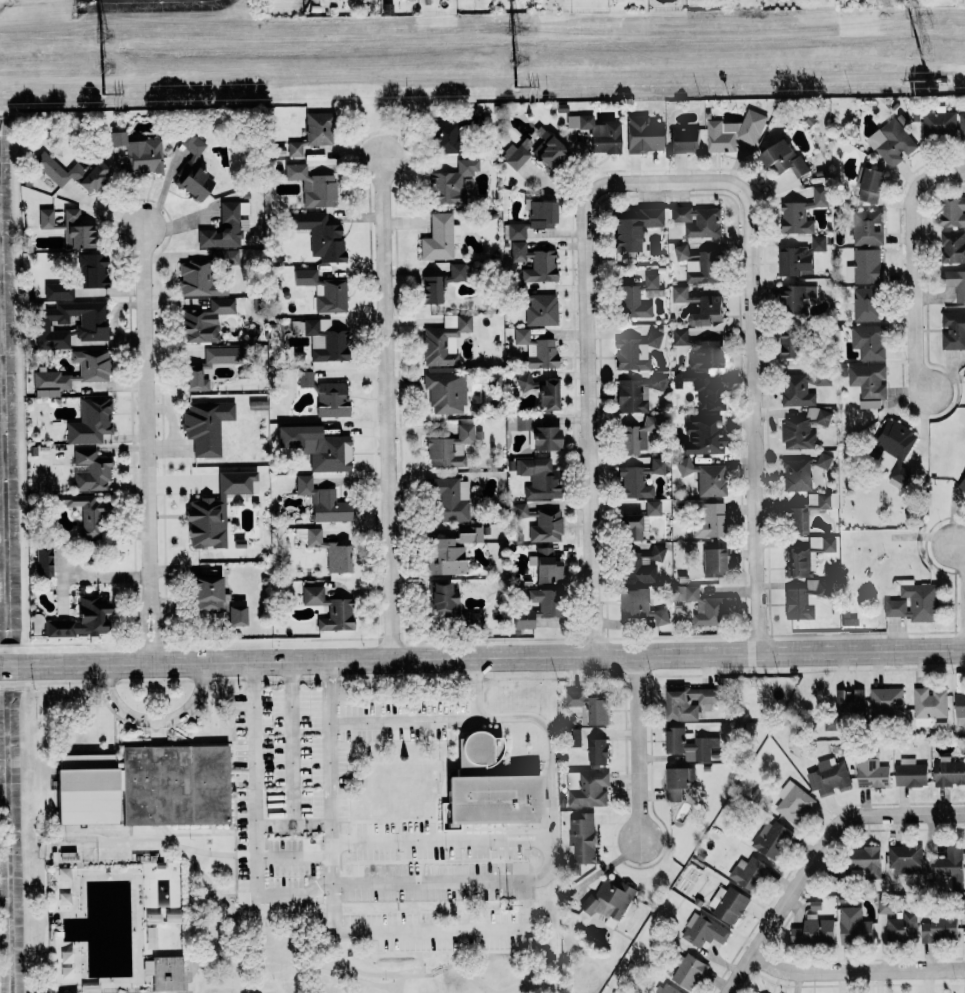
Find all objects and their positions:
power tower: (925, 22)
power tower: (514, 29)
power tower: (102, 36)
power tower: (927, 51)
power tower: (514, 59)
power tower: (102, 65)
power tower: (926, 79)
power tower: (514, 85)
power tower: (101, 94)
building: (472, 117)
building: (318, 128)
building: (962, 128)
building: (598, 133)
building: (643, 134)
building: (442, 137)
building: (117, 138)
building: (684, 138)
building: (892, 142)
building: (294, 148)
building: (534, 153)
building: (144, 156)
building: (783, 158)
building: (192, 169)
building: (71, 173)
road: (667, 182)
building: (451, 183)
building: (871, 185)
building: (314, 186)
building: (802, 212)
building: (952, 212)
building: (541, 215)
building: (45, 218)
building: (697, 221)
building: (634, 227)
building: (868, 227)
building: (223, 228)
building: (77, 230)
building: (516, 231)
building: (320, 236)
building: (440, 238)
building: (953, 247)
building: (683, 253)
building: (224, 257)
building: (799, 257)
building: (535, 263)
road: (910, 263)
building: (865, 266)
building: (702, 268)
building: (92, 271)
building: (196, 280)
building: (442, 283)
building: (955, 283)
building: (58, 290)
building: (324, 291)
building: (682, 294)
building: (635, 298)
building: (796, 299)
building: (867, 304)
building: (537, 306)
building: (706, 311)
building: (204, 320)
building: (91, 327)
building: (953, 330)
building: (321, 339)
building: (444, 340)
building: (869, 341)
building: (789, 345)
building: (536, 350)
building: (700, 350)
building: (636, 351)
building: (93, 373)
building: (192, 373)
building: (305, 379)
building: (523, 380)
building: (656, 382)
building: (869, 384)
building: (701, 390)
building: (797, 390)
building: (445, 392)
building: (548, 395)
building: (630, 397)
building: (331, 400)
building: (257, 405)
road: (387, 409)
road: (754, 419)
building: (90, 421)
road: (588, 421)
building: (517, 423)
building: (206, 426)
building: (803, 428)
building: (701, 435)
building: (637, 436)
road: (148, 439)
building: (546, 439)
building: (450, 448)
building: (896, 448)
building: (323, 449)
building: (824, 460)
building: (91, 471)
building: (796, 475)
building: (539, 477)
building: (704, 477)
building: (638, 479)
building: (962, 485)
building: (449, 499)
building: (818, 501)
building: (323, 502)
building: (652, 508)
building: (216, 510)
building: (520, 510)
building: (85, 514)
building: (709, 520)
building: (795, 521)
building: (546, 526)
building: (630, 528)
building: (327, 550)
building: (451, 551)
building: (657, 552)
building: (807, 556)
road: (959, 558)
building: (43, 562)
building: (714, 563)
building: (546, 567)
building: (637, 570)
building: (812, 586)
building: (206, 593)
building: (915, 602)
building: (450, 604)
building: (799, 605)
building: (549, 606)
building: (704, 606)
building: (640, 607)
building: (329, 609)
building: (235, 615)
building: (83, 619)
road: (482, 655)
road: (163, 680)
building: (688, 701)
building: (849, 701)
building: (886, 701)
building: (928, 705)
building: (588, 706)
building: (960, 708)
road: (156, 719)
road: (434, 720)
building: (573, 737)
road: (291, 741)
road: (634, 742)
building: (688, 744)
building: (597, 750)
road: (553, 767)
road: (330, 770)
building: (949, 771)
building: (910, 772)
building: (871, 773)
building: (829, 777)
building: (678, 782)
building: (487, 785)
building: (144, 786)
building: (586, 788)
building: (792, 801)
road: (234, 811)
road: (293, 822)
road: (213, 828)
road: (366, 829)
road: (202, 833)
building: (582, 837)
building: (770, 838)
road: (441, 839)
road: (175, 843)
road: (43, 847)
road: (814, 849)
road: (205, 850)
building: (905, 858)
road: (294, 859)
building: (866, 860)
building: (949, 867)
building: (749, 872)
road: (208, 878)
road: (282, 895)
building: (609, 898)
building: (727, 903)
building: (885, 905)
building: (963, 906)
road: (384, 923)
building: (854, 925)
road: (189, 926)
park: (253, 926)
building: (902, 926)
building: (940, 926)
building: (703, 930)
building: (813, 930)
road: (515, 931)
road: (223, 932)
road: (514, 936)
road: (258, 944)
road: (299, 944)
road: (353, 954)
road: (440, 970)
building: (688, 971)
building: (164, 972)
road: (856, 974)
road: (403, 983)
building: (667, 988)

